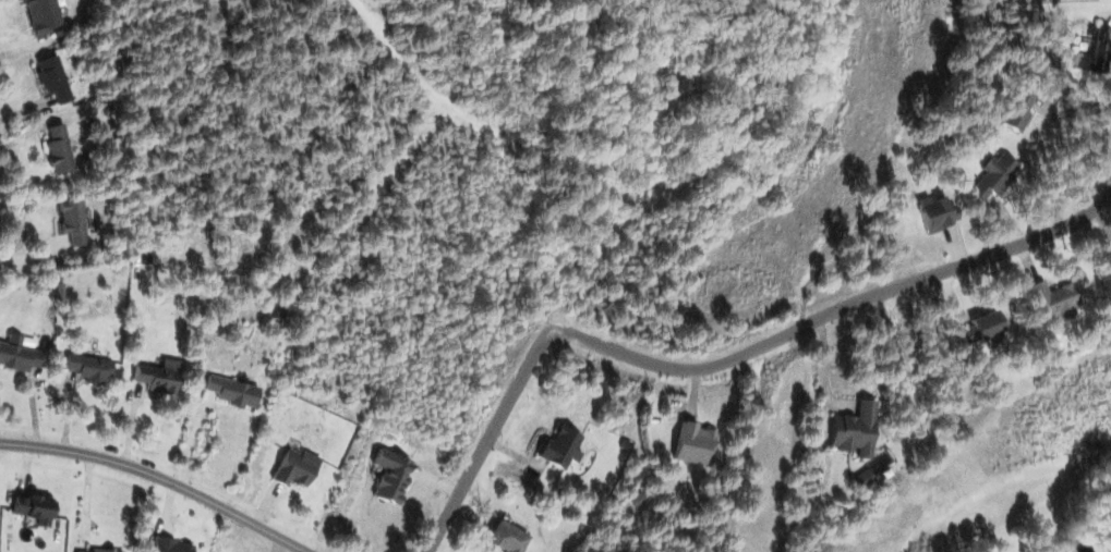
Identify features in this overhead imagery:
building: (38, 16)
building: (1094, 51)
road: (416, 76)
building: (49, 78)
building: (1014, 112)
building: (55, 150)
building: (991, 176)
building: (930, 213)
building: (69, 221)
building: (1110, 256)
park: (749, 272)
building: (1052, 302)
road: (835, 311)
building: (977, 328)
building: (14, 353)
building: (85, 365)
building: (155, 376)
building: (229, 390)
building: (850, 429)
road: (490, 440)
building: (688, 442)
building: (557, 447)
building: (292, 467)
building: (387, 475)
road: (158, 478)
building: (29, 507)
building: (503, 537)
building: (167, 545)
building: (96, 550)

